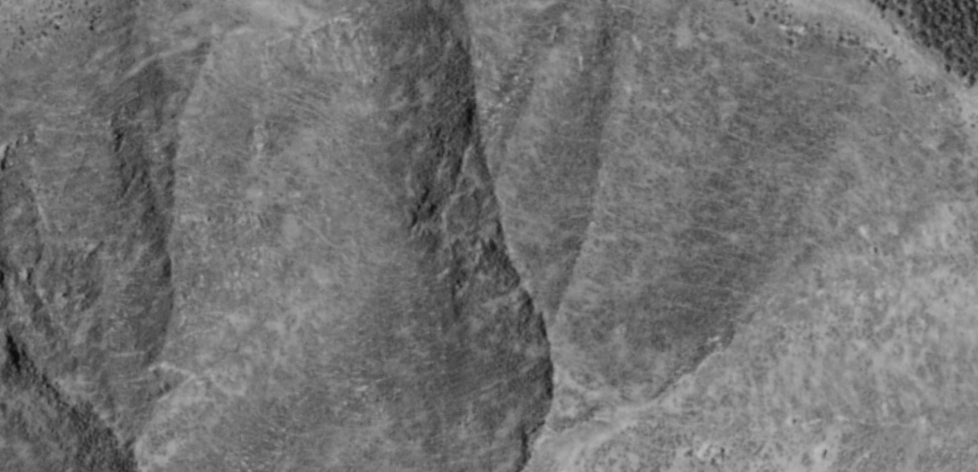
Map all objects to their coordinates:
road: (87, 34)
road: (758, 81)

